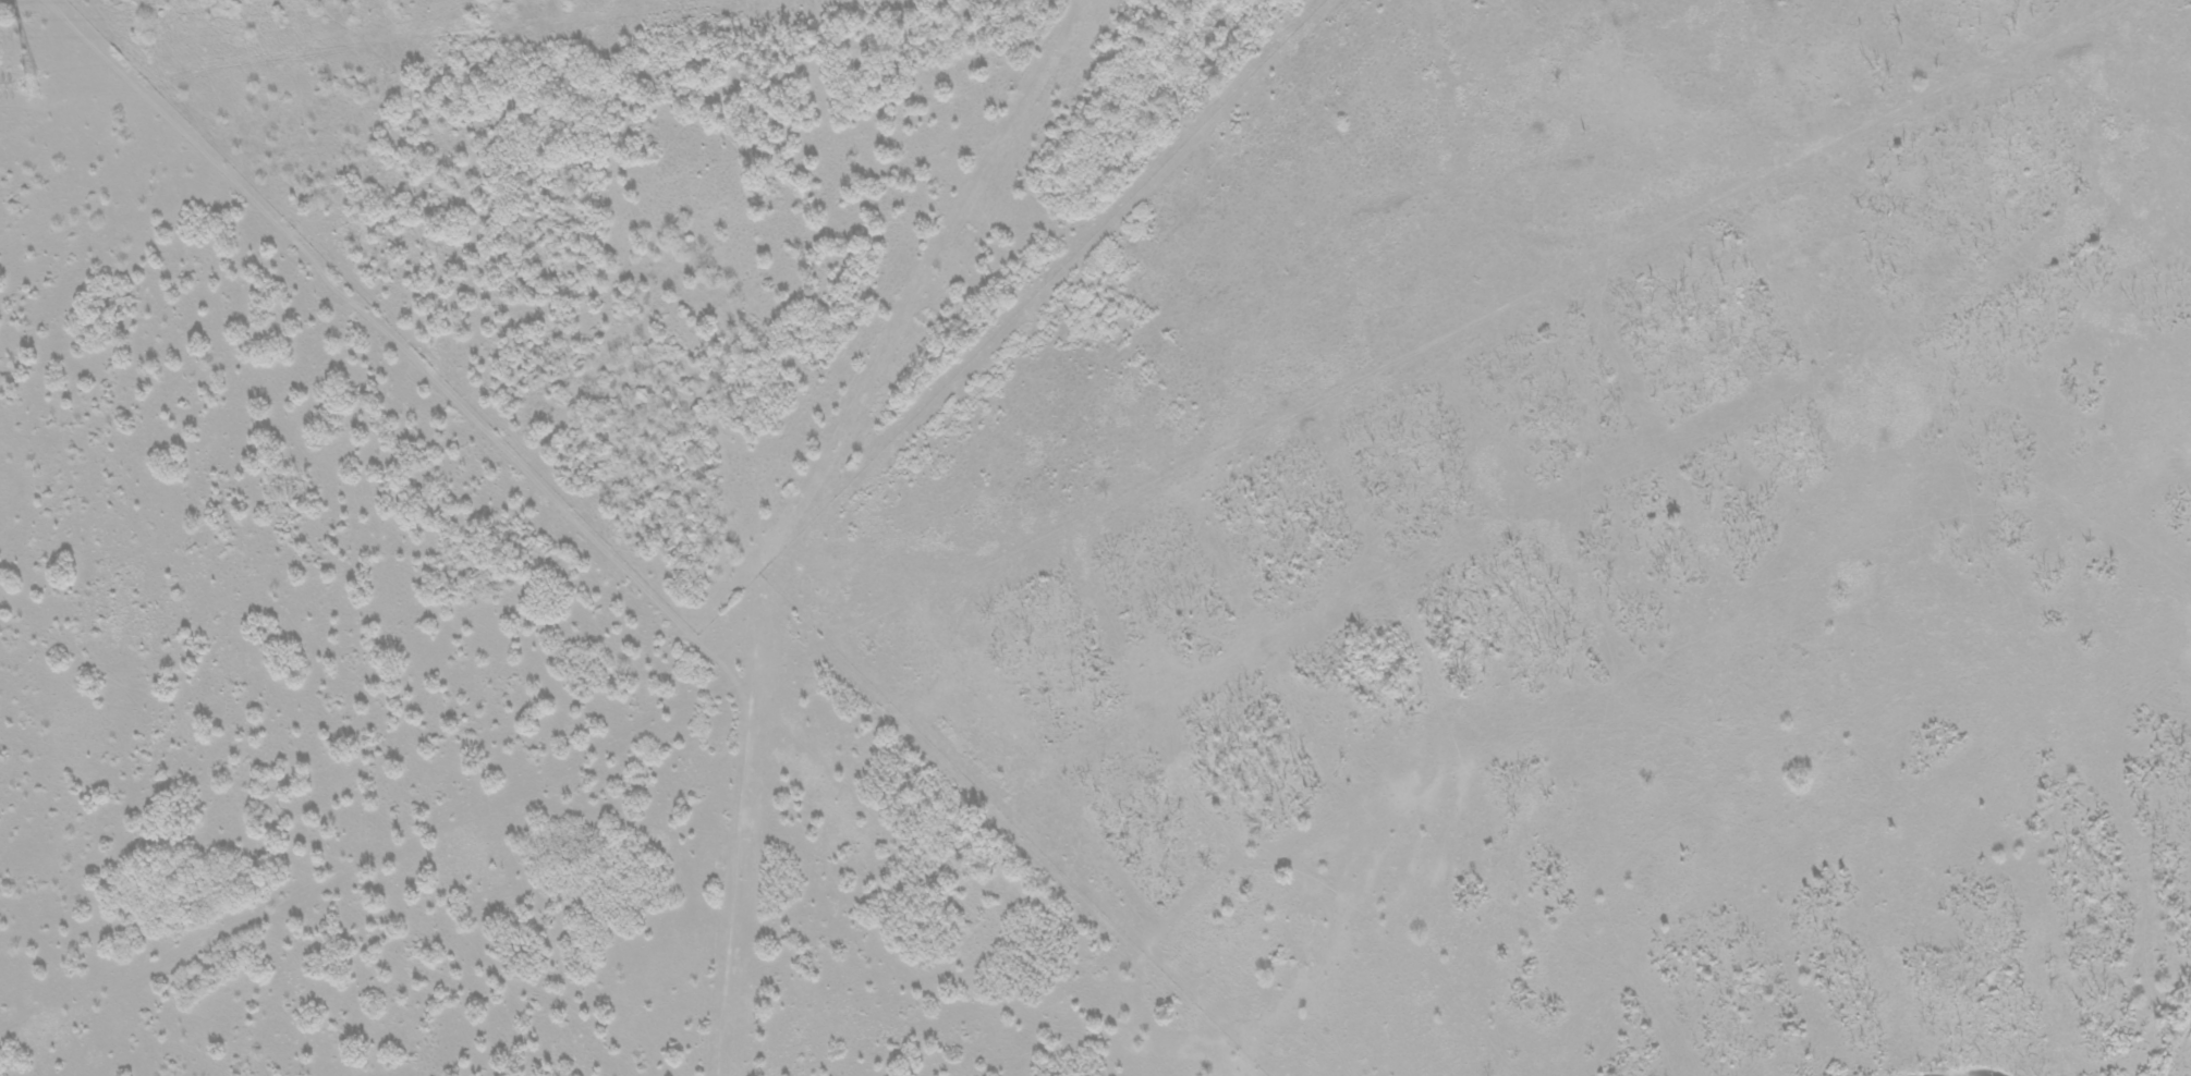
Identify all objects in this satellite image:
power tower: (28, 86)

